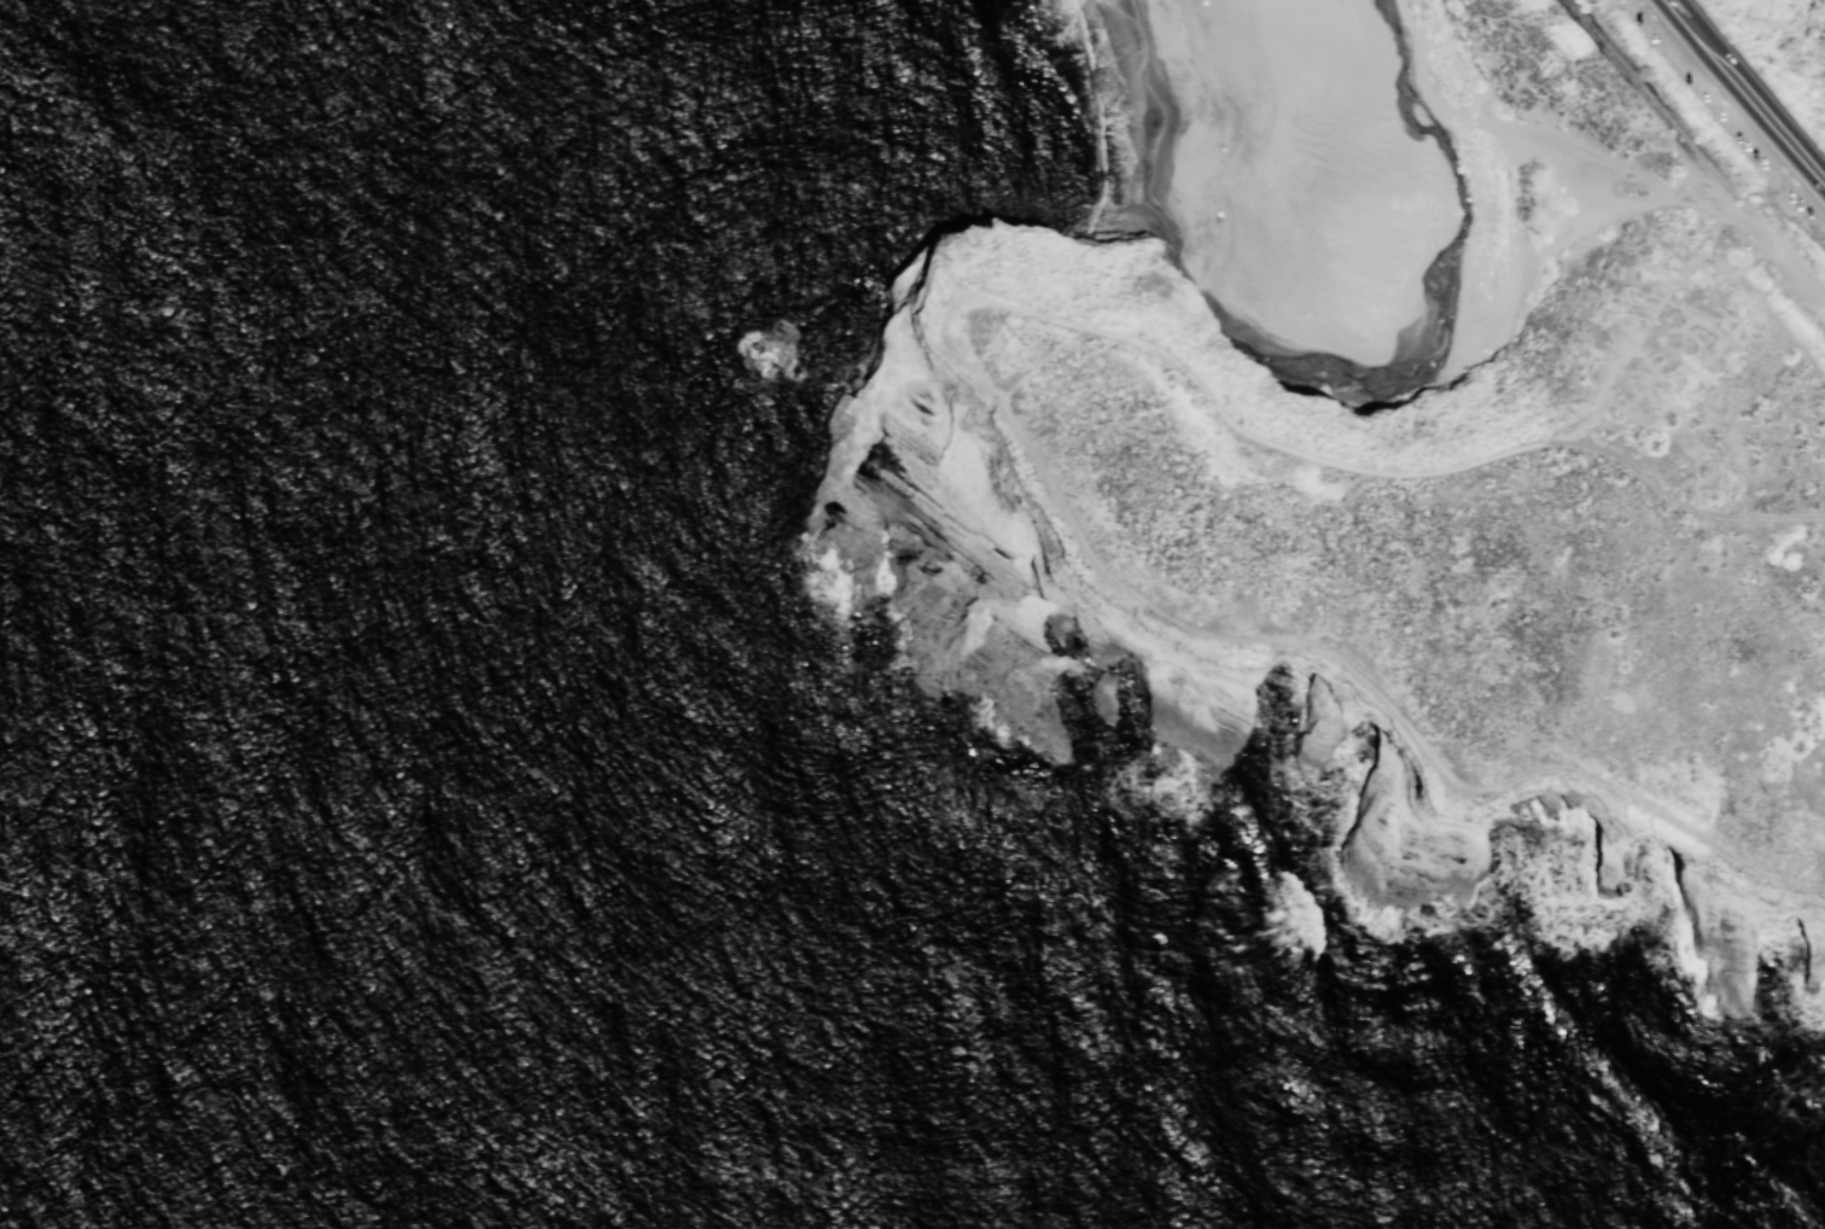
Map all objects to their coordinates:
road: (1685, 24)
road: (1733, 104)
road: (1765, 115)
parking lot: (1727, 116)
road: (1655, 126)
railway: (1696, 151)
road: (1742, 177)
park: (1460, 186)
road: (1698, 196)
road: (1695, 206)
road: (956, 258)
road: (1681, 276)
road: (951, 281)
road: (1664, 301)
road: (1790, 337)
road: (1039, 365)
road: (1649, 366)
road: (1671, 391)
road: (1639, 420)
road: (1588, 425)
road: (1380, 477)
park: (1436, 569)
road: (1336, 658)

